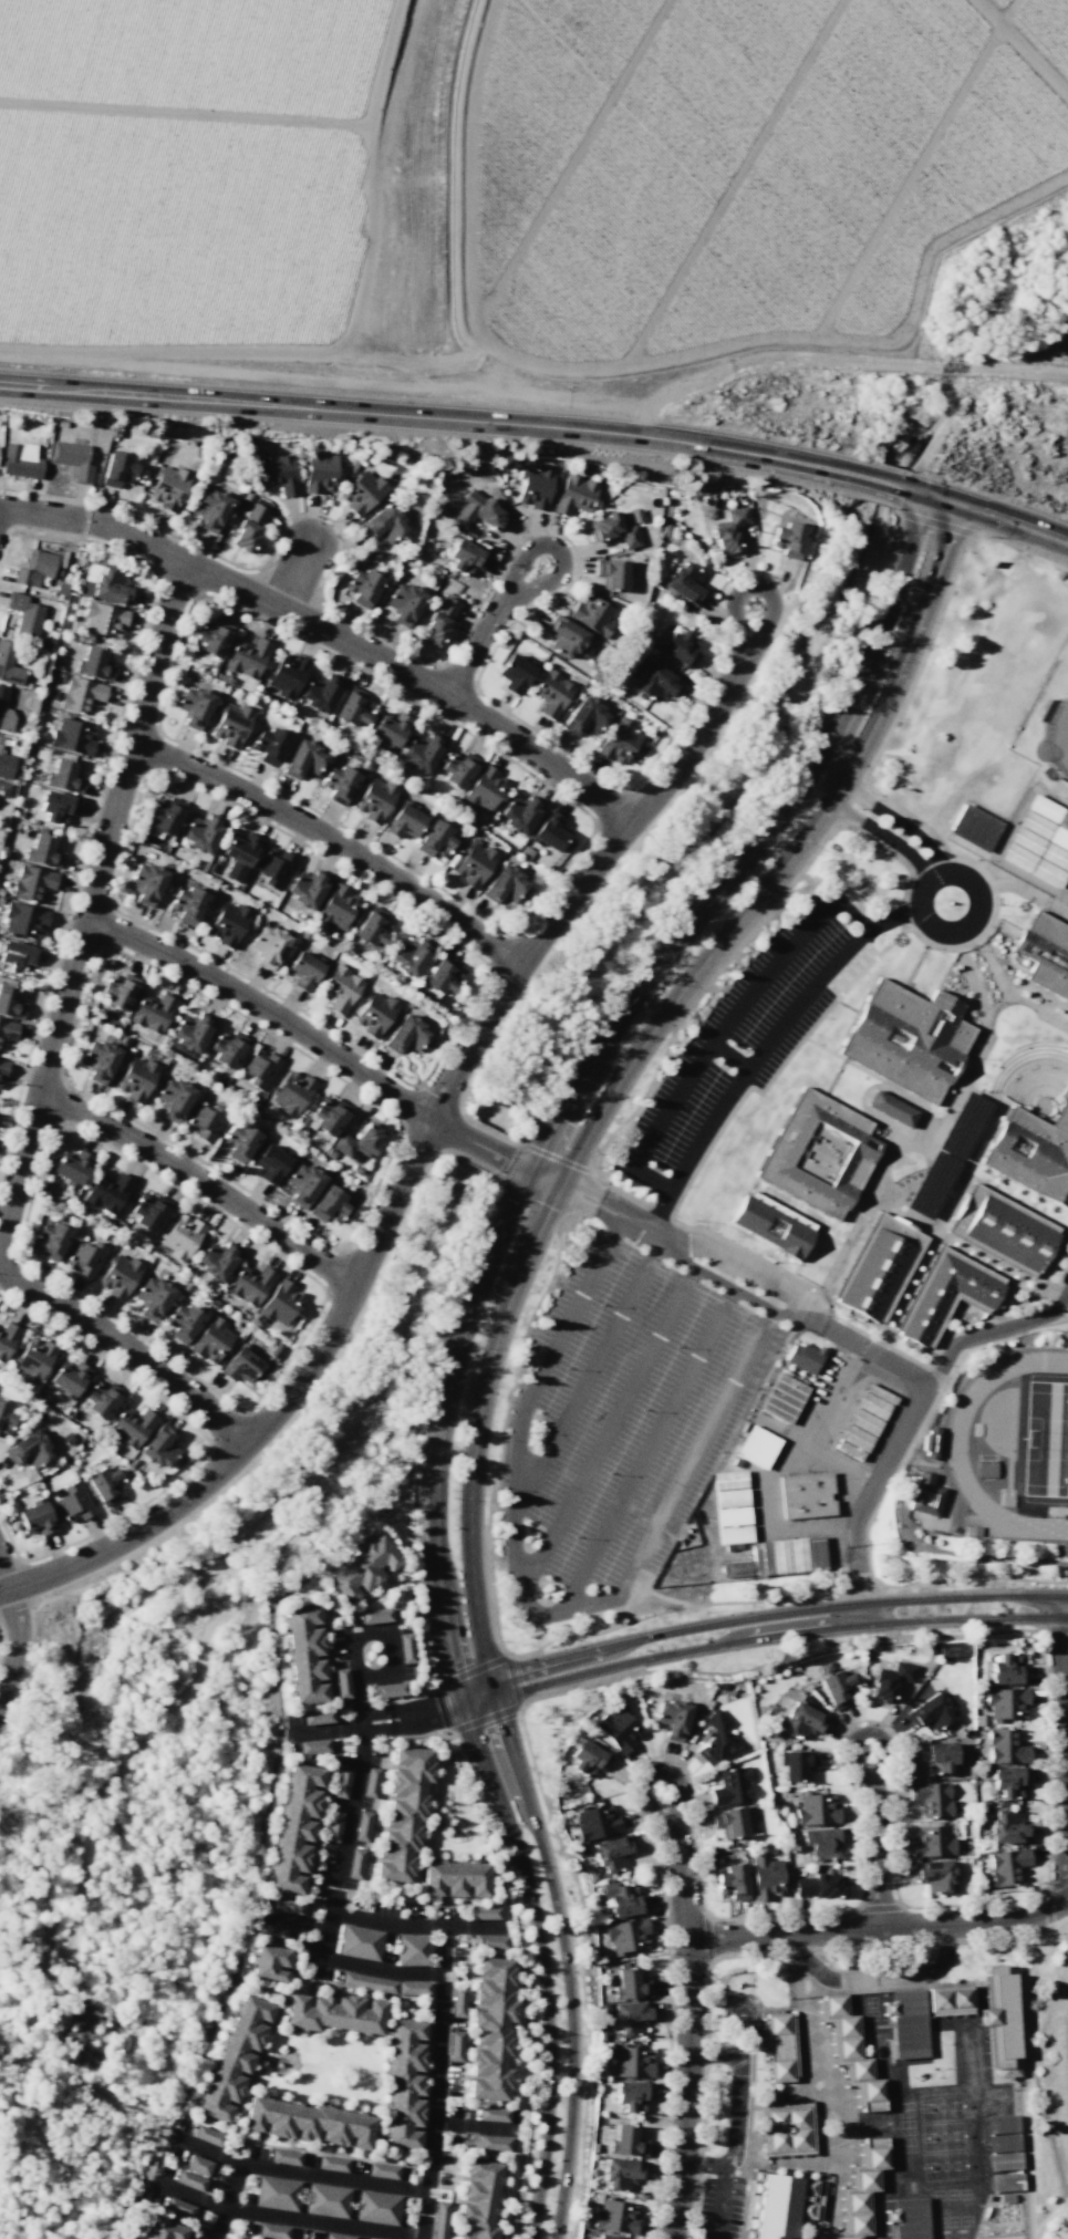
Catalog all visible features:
crop: (740, 169)
crop: (182, 178)
crop: (1064, 353)
road: (540, 425)
building: (72, 459)
building: (20, 460)
building: (117, 469)
building: (319, 471)
building: (278, 473)
building: (167, 487)
building: (536, 487)
building: (361, 491)
building: (573, 495)
traffic signals: (945, 501)
building: (209, 508)
road: (40, 511)
building: (477, 511)
building: (383, 524)
building: (248, 528)
building: (612, 530)
building: (729, 531)
building: (789, 539)
building: (466, 558)
building: (34, 568)
building: (611, 573)
road: (295, 574)
building: (89, 580)
building: (685, 582)
building: (111, 585)
building: (363, 587)
building: (403, 603)
road: (940, 610)
building: (24, 614)
building: (593, 614)
building: (103, 620)
building: (438, 621)
road: (491, 623)
building: (564, 636)
building: (212, 638)
building: (680, 646)
road: (370, 653)
building: (247, 657)
building: (95, 663)
building: (9, 664)
building: (514, 674)
building: (287, 675)
building: (654, 682)
building: (320, 693)
building: (552, 693)
building: (81, 694)
building: (193, 706)
building: (352, 707)
building: (4, 712)
building: (584, 717)
building: (230, 724)
building: (390, 729)
park: (1053, 729)
building: (72, 736)
building: (0, 742)
building: (618, 742)
building: (269, 745)
building: (421, 751)
building: (302, 759)
building: (6, 765)
building: (457, 769)
building: (64, 776)
building: (339, 784)
building: (485, 788)
building: (3, 789)
building: (374, 799)
building: (56, 807)
road: (1017, 808)
building: (1044, 809)
building: (519, 813)
building: (164, 815)
building: (1064, 820)
building: (404, 821)
road: (900, 823)
building: (1035, 825)
building: (974, 827)
building: (549, 831)
building: (200, 832)
road: (338, 838)
road: (882, 838)
building: (1059, 838)
building: (435, 839)
building: (1026, 841)
building: (43, 850)
building: (239, 854)
building: (1017, 857)
building: (1055, 857)
building: (473, 863)
building: (273, 867)
building: (1048, 873)
building: (145, 882)
building: (32, 883)
road: (1012, 884)
building: (504, 885)
building: (305, 888)
road: (976, 891)
road: (1061, 898)
building: (186, 903)
building: (336, 908)
building: (23, 920)
road: (894, 920)
building: (227, 923)
building: (372, 930)
road: (987, 930)
building: (268, 945)
building: (1045, 953)
building: (15, 955)
building: (408, 956)
road: (992, 962)
road: (916, 967)
building: (303, 971)
road: (972, 976)
building: (443, 977)
building: (340, 988)
building: (117, 991)
building: (10, 1002)
road: (831, 1007)
road: (848, 1007)
road: (996, 1007)
building: (152, 1012)
road: (1039, 1012)
building: (374, 1014)
road: (723, 1025)
building: (7, 1029)
building: (190, 1032)
building: (406, 1035)
building: (909, 1039)
road: (328, 1044)
building: (226, 1048)
road: (50, 1057)
road: (727, 1057)
building: (98, 1060)
building: (2, 1068)
building: (260, 1068)
road: (748, 1068)
road: (875, 1078)
building: (135, 1079)
road: (834, 1079)
building: (291, 1092)
building: (173, 1099)
building: (891, 1108)
building: (329, 1117)
building: (205, 1122)
road: (903, 1139)
building: (239, 1141)
building: (359, 1141)
road: (423, 1146)
road: (711, 1146)
building: (1033, 1153)
building: (819, 1155)
building: (270, 1163)
building: (71, 1168)
road: (203, 1179)
road: (998, 1182)
road: (562, 1183)
building: (302, 1184)
building: (107, 1192)
road: (998, 1192)
road: (1035, 1203)
building: (329, 1205)
building: (148, 1212)
building: (773, 1225)
road: (646, 1231)
building: (1004, 1231)
building: (180, 1236)
building: (49, 1240)
road: (929, 1248)
road: (747, 1253)
building: (85, 1258)
building: (216, 1260)
building: (879, 1268)
building: (120, 1276)
building: (250, 1284)
building: (947, 1296)
building: (152, 1297)
building: (280, 1303)
road: (470, 1312)
road: (502, 1316)
building: (184, 1323)
road: (993, 1331)
building: (7, 1339)
building: (211, 1340)
building: (806, 1357)
building: (33, 1359)
building: (240, 1365)
road: (585, 1377)
building: (69, 1379)
building: (880, 1393)
building: (101, 1398)
building: (784, 1398)
building: (872, 1406)
building: (4, 1418)
building: (863, 1421)
road: (910, 1422)
building: (131, 1426)
road: (608, 1433)
building: (854, 1438)
park: (1047, 1440)
building: (931, 1443)
building: (159, 1447)
track: (955, 1447)
building: (758, 1448)
building: (28, 1450)
building: (849, 1450)
road: (649, 1451)
building: (729, 1480)
building: (104, 1484)
building: (806, 1495)
building: (925, 1495)
building: (730, 1497)
building: (73, 1502)
building: (733, 1517)
building: (35, 1518)
building: (735, 1535)
building: (816, 1553)
building: (797, 1555)
building: (779, 1557)
building: (760, 1558)
building: (361, 1567)
park: (282, 1571)
road: (3, 1577)
building: (374, 1615)
road: (533, 1617)
road: (757, 1618)
road: (761, 1637)
road: (17, 1646)
building: (405, 1647)
building: (930, 1648)
road: (392, 1652)
building: (304, 1655)
building: (1006, 1669)
building: (889, 1680)
building: (341, 1682)
building: (837, 1688)
building: (388, 1689)
building: (1005, 1702)
building: (929, 1712)
building: (317, 1717)
road: (520, 1717)
building: (672, 1719)
building: (801, 1720)
road: (363, 1725)
road: (330, 1729)
building: (616, 1729)
building: (714, 1739)
building: (312, 1745)
building: (1006, 1746)
road: (849, 1748)
road: (1065, 1748)
building: (936, 1755)
building: (588, 1758)
building: (796, 1764)
road: (841, 1772)
building: (1008, 1781)
building: (341, 1782)
building: (370, 1782)
road: (640, 1784)
building: (732, 1785)
building: (931, 1799)
road: (94, 1805)
building: (816, 1808)
building: (402, 1813)
building: (595, 1822)
building: (728, 1822)
building: (362, 1825)
building: (333, 1826)
building: (1008, 1826)
building: (294, 1827)
road: (1045, 1832)
road: (891, 1836)
building: (931, 1841)
building: (820, 1842)
road: (342, 1853)
building: (610, 1853)
road: (877, 1858)
building: (354, 1863)
building: (1006, 1866)
building: (932, 1875)
building: (592, 1876)
building: (765, 1877)
building: (454, 1879)
building: (733, 1882)
building: (819, 1885)
road: (1047, 1894)
road: (662, 1895)
building: (620, 1898)
building: (286, 1906)
road: (879, 1907)
building: (483, 1913)
road: (816, 1913)
road: (739, 1917)
road: (416, 1924)
road: (879, 1930)
building: (269, 1931)
building: (625, 1936)
road: (1041, 1936)
road: (707, 1939)
building: (490, 1941)
building: (359, 1942)
road: (879, 1947)
building: (412, 1949)
building: (269, 1962)
building: (622, 1965)
road: (875, 1976)
building: (630, 1983)
building: (385, 1984)
building: (948, 1999)
building: (457, 2002)
building: (333, 2012)
building: (631, 2015)
building: (999, 2019)
building: (906, 2023)
building: (490, 2029)
road: (688, 2030)
building: (601, 2035)
building: (778, 2045)
building: (455, 2046)
building: (853, 2052)
building: (234, 2055)
building: (630, 2062)
road: (1024, 2074)
road: (434, 2083)
building: (404, 2084)
road: (738, 2091)
building: (632, 2095)
road: (704, 2101)
building: (492, 2114)
road: (1045, 2121)
road: (747, 2122)
building: (308, 2123)
building: (1000, 2123)
building: (786, 2128)
building: (207, 2135)
building: (626, 2140)
building: (1003, 2142)
building: (491, 2143)
building: (594, 2147)
building: (284, 2156)
building: (1003, 2160)
building: (332, 2163)
building: (197, 2165)
building: (382, 2170)
road: (300, 2171)
building: (621, 2173)
building: (189, 2180)
road: (722, 2181)
building: (1005, 2181)
building: (863, 2187)
building: (276, 2193)
building: (807, 2198)
building: (478, 2199)
building: (326, 2200)
road: (227, 2201)
building: (774, 2206)
building: (376, 2207)
parking lot: (718, 2208)
building: (614, 2216)
road: (288, 2217)
building: (909, 2218)
building: (438, 2220)
building: (584, 2224)
building: (160, 2229)
building: (272, 2231)
building: (336, 2236)
building: (609, 2236)

